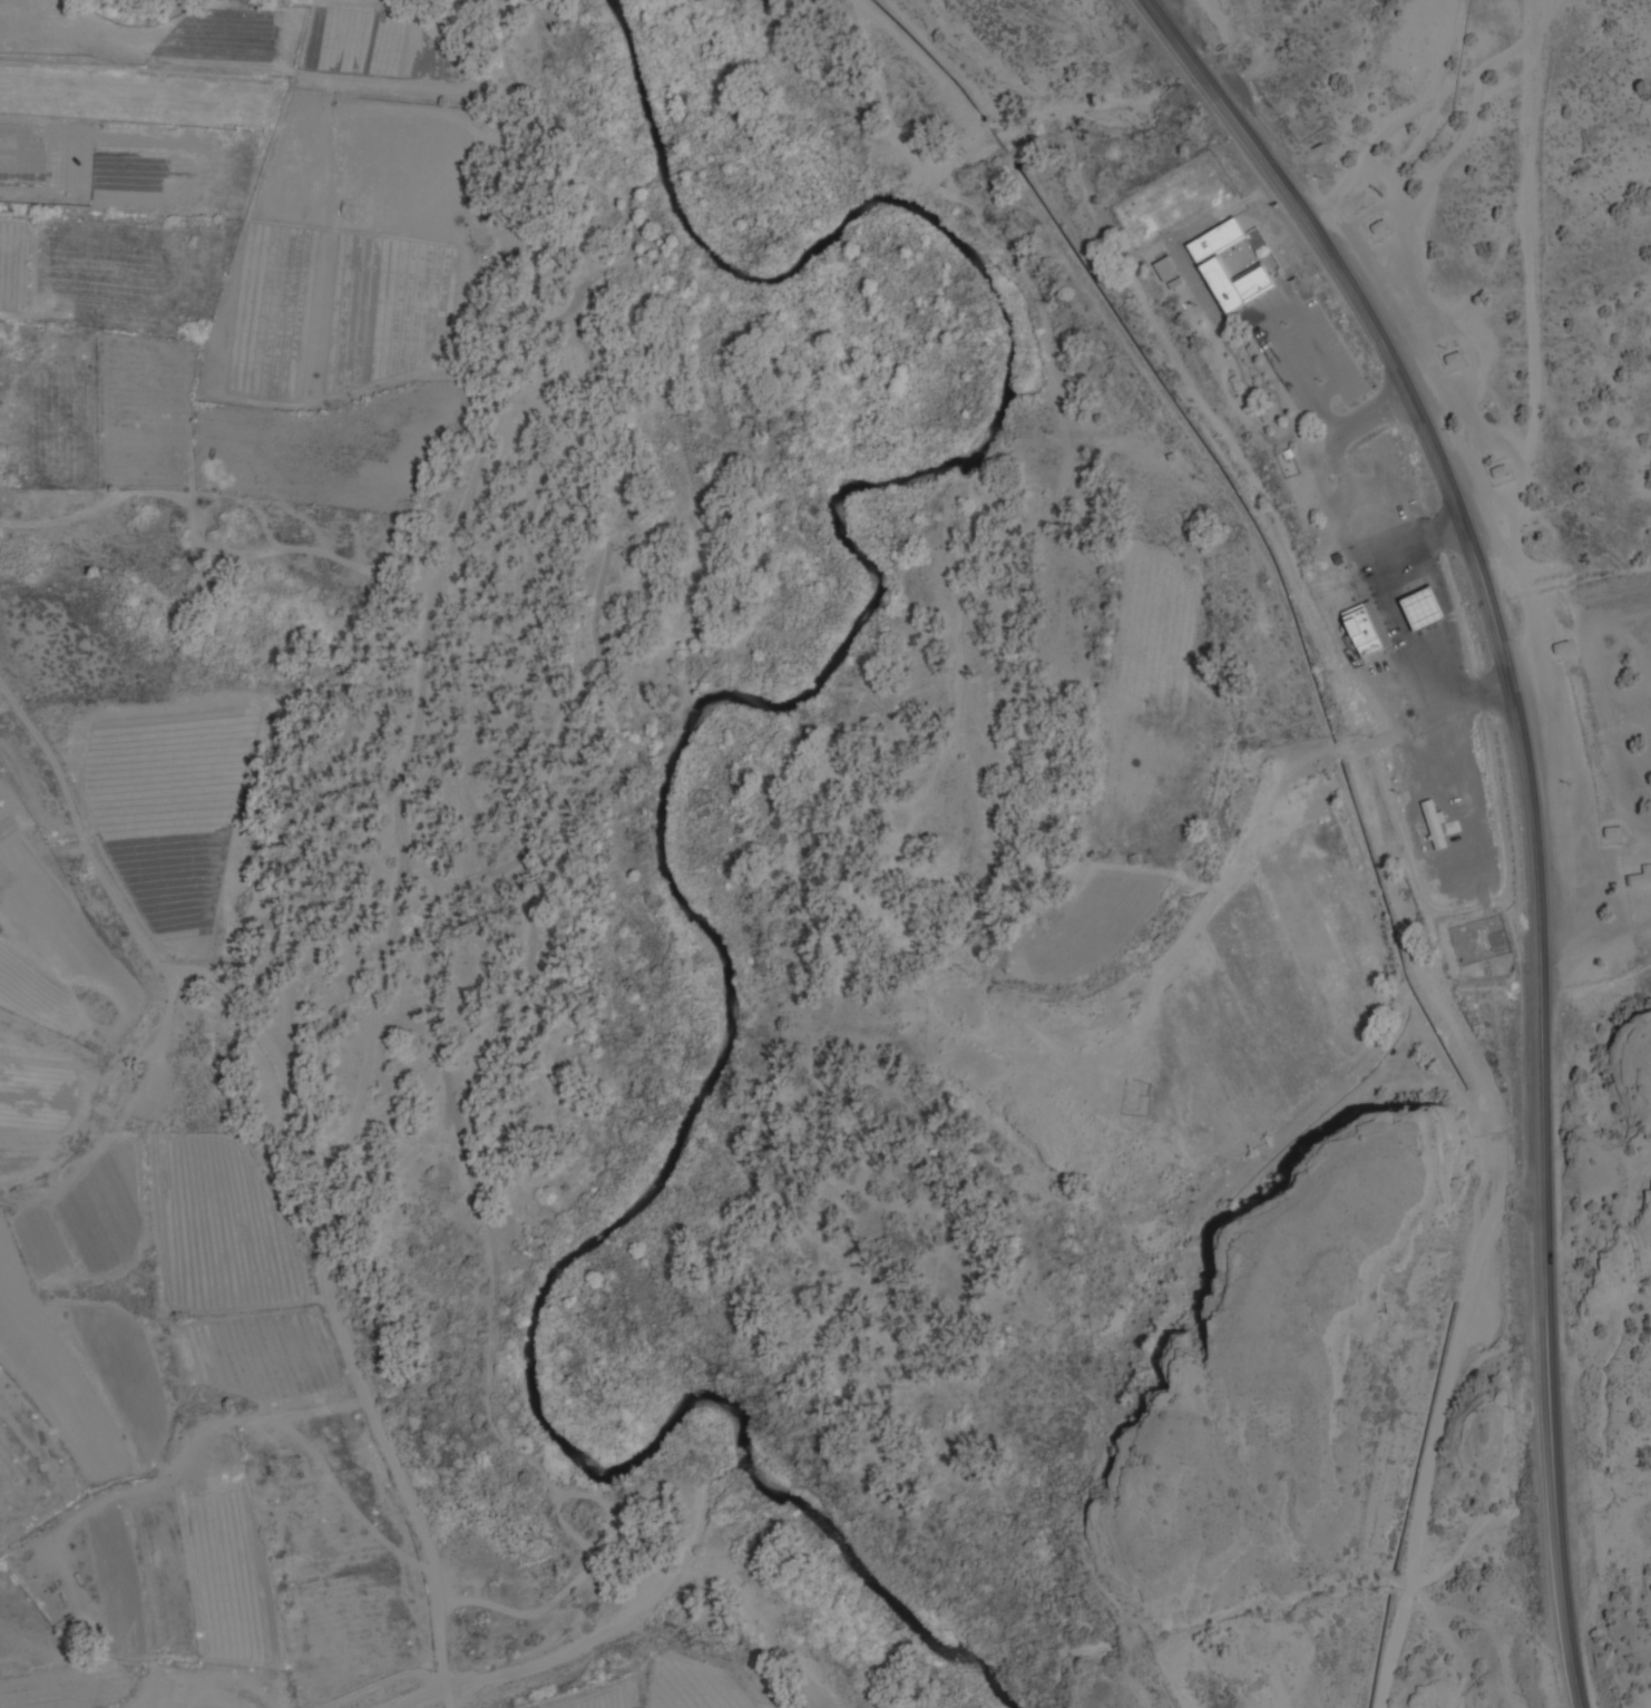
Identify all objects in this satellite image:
building: (1375, 224)
building: (1210, 267)
building: (1170, 270)
parking lot: (1303, 355)
building: (1448, 355)
building: (1454, 361)
road: (1354, 419)
building: (1493, 469)
building: (1499, 472)
road: (1467, 537)
gas station: (1417, 603)
building: (1427, 611)
road: (1395, 624)
building: (1356, 626)
building: (1556, 646)
building: (1560, 651)
building: (1437, 827)
building: (1608, 833)
building: (1634, 880)
road: (238, 1164)
road: (1438, 1412)
road: (1553, 1433)

